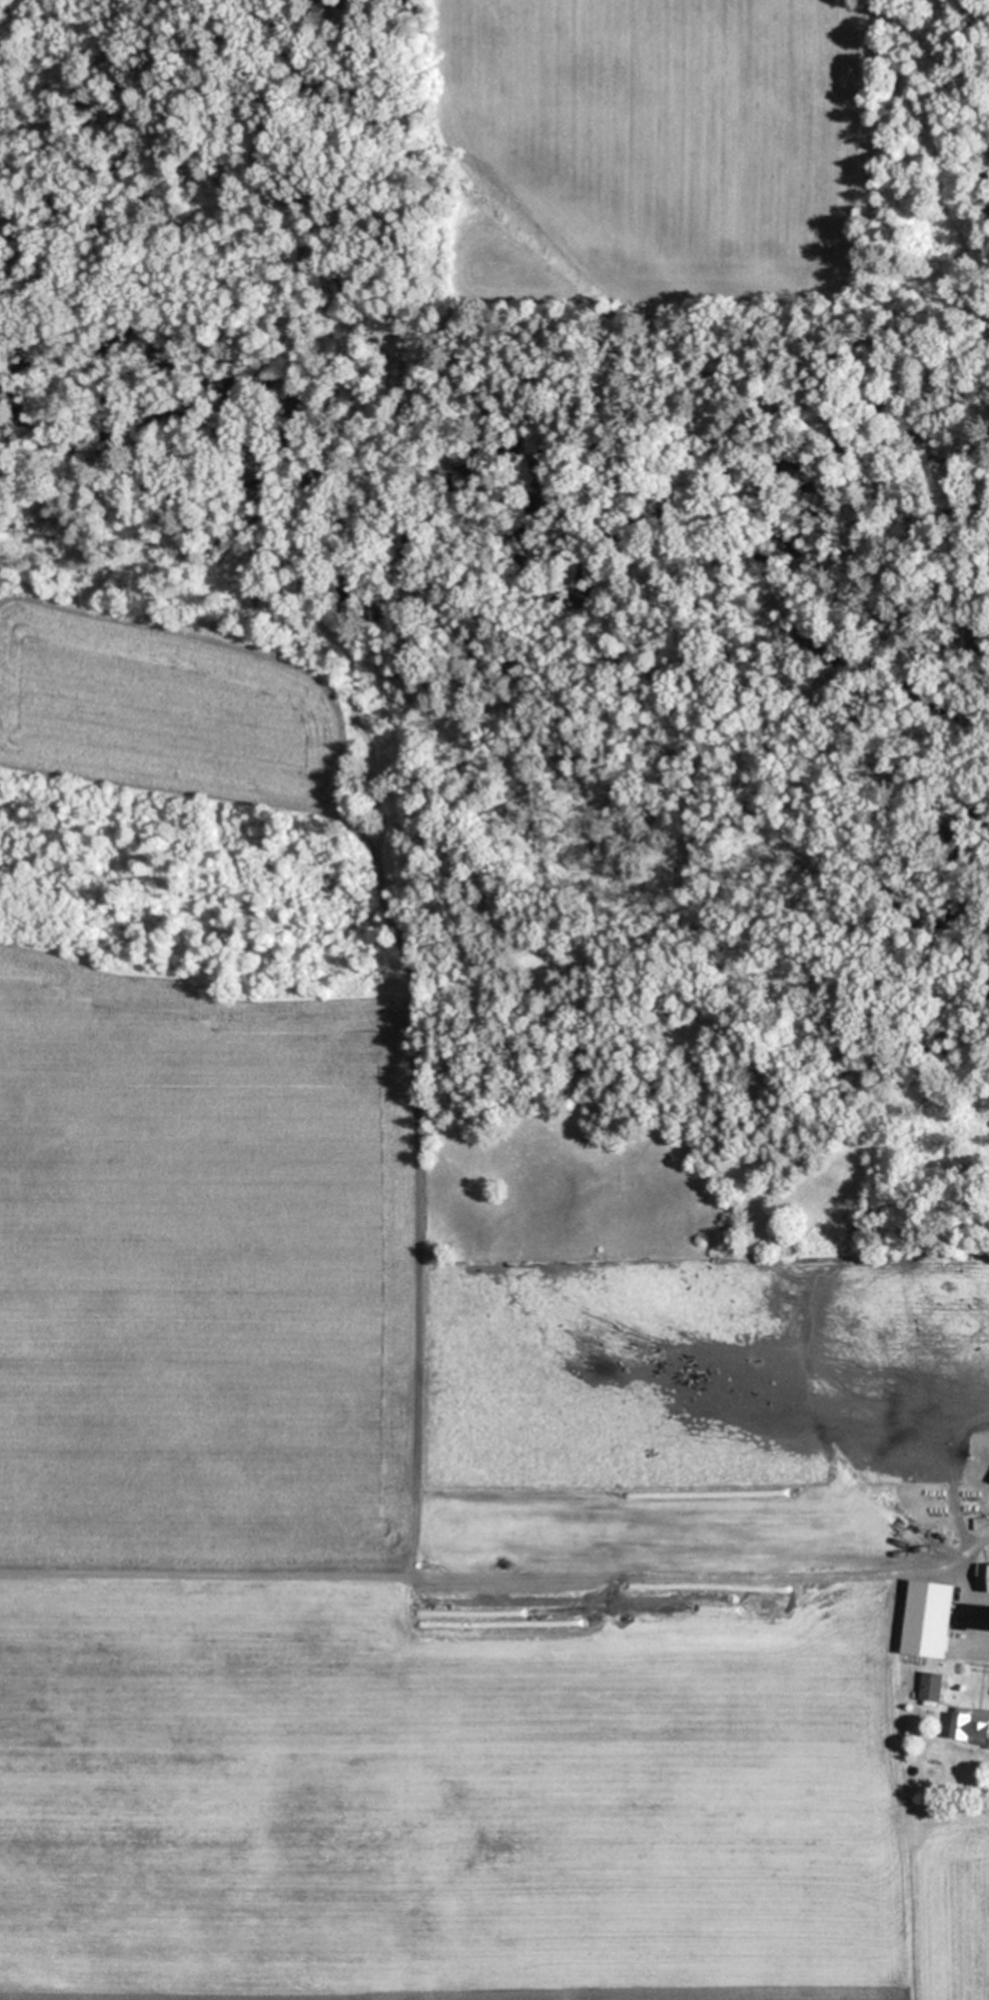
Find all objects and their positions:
building: (910, 1557)
building: (982, 1576)
road: (518, 1582)
building: (947, 1617)
building: (930, 1687)
building: (970, 1725)
road: (899, 1787)

